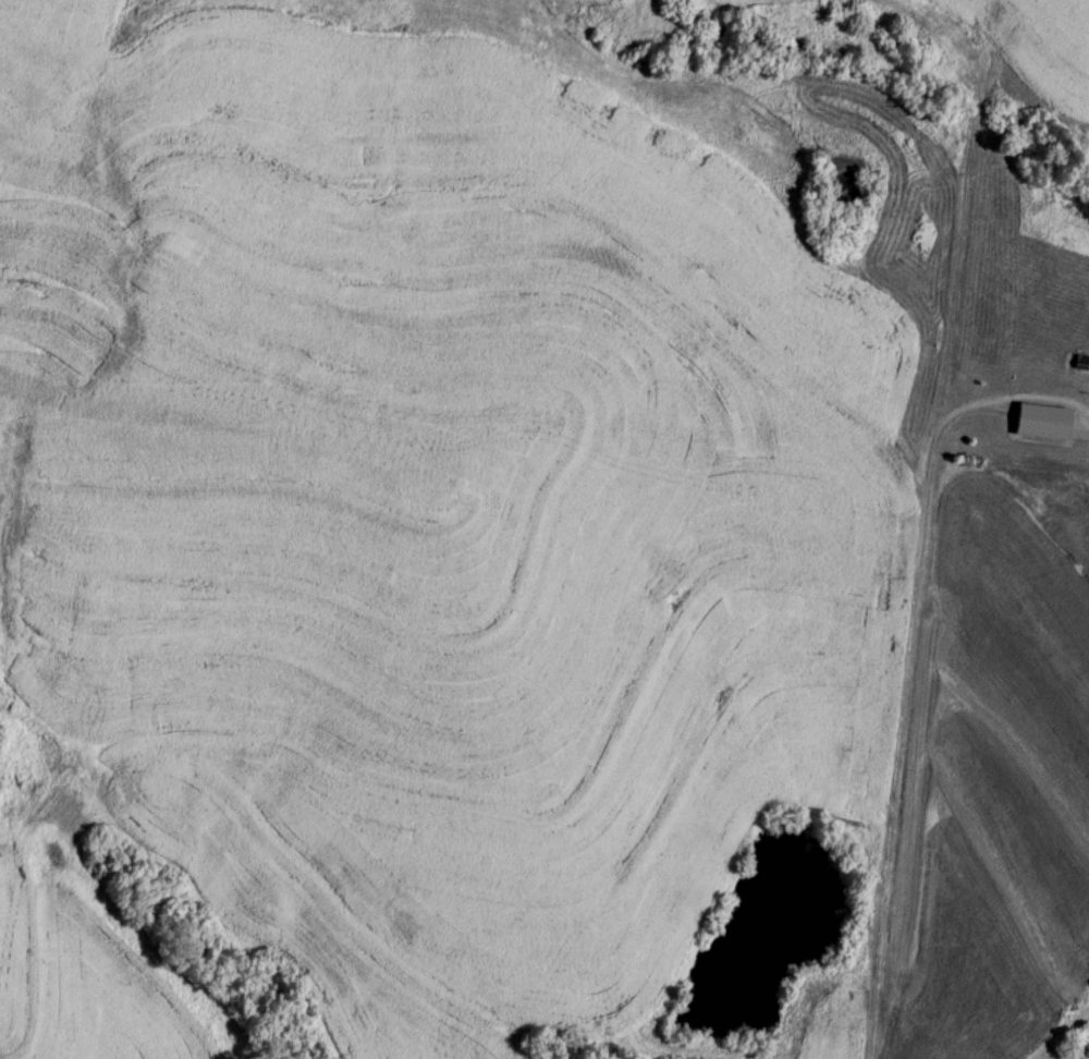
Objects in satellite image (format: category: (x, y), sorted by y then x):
building: (1045, 423)
road: (900, 710)
road: (1059, 1033)

